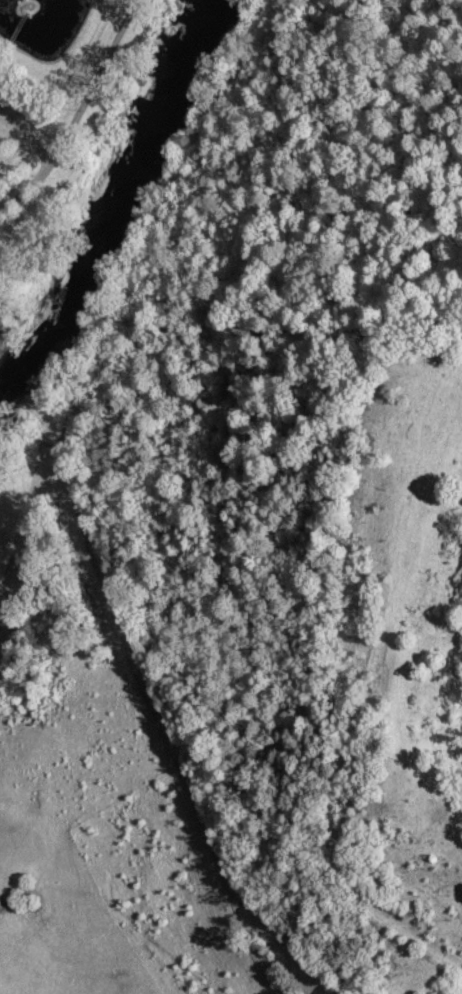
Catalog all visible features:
road: (77, 112)
road: (26, 133)

